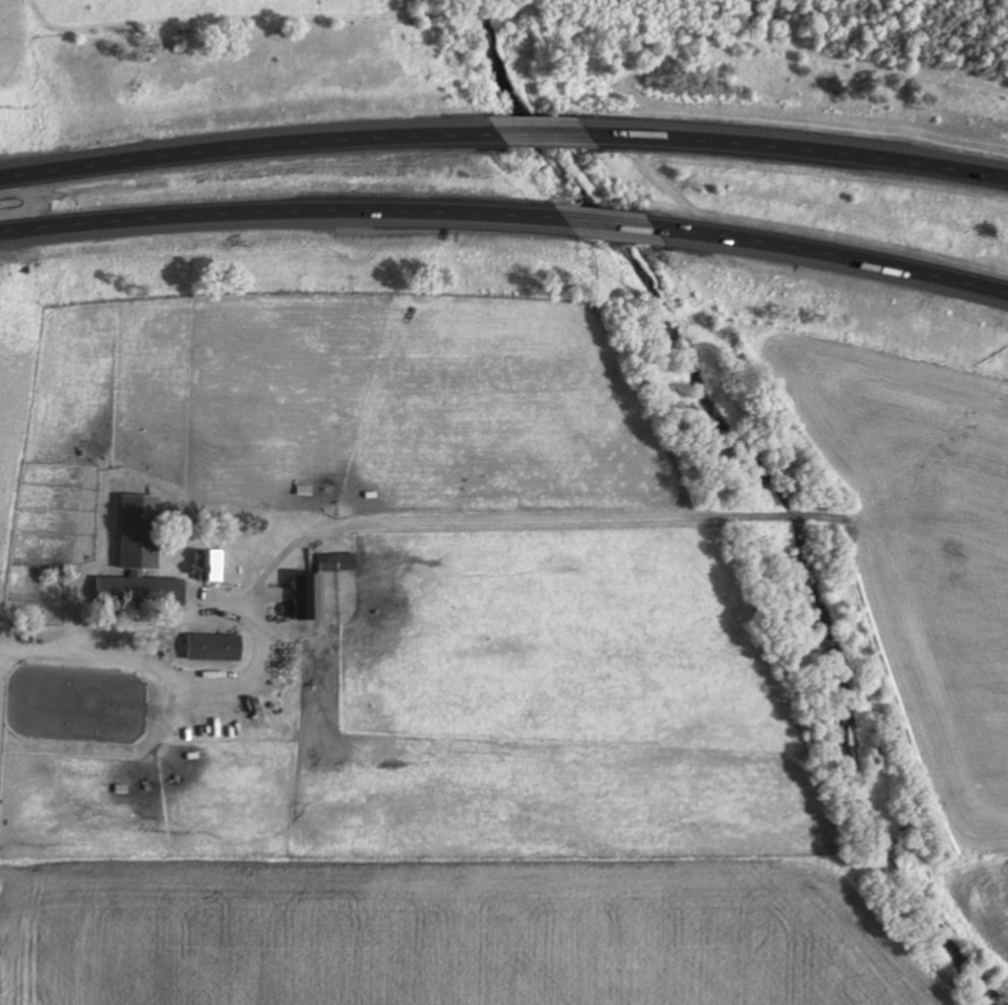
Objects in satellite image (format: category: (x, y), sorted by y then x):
crop: (171, 11)
road: (544, 135)
road: (248, 147)
road: (799, 148)
road: (281, 211)
road: (610, 225)
road: (833, 254)
river: (772, 477)
building: (141, 560)
building: (339, 562)
building: (209, 566)
building: (305, 598)
road: (27, 647)
building: (217, 648)
road: (260, 651)

